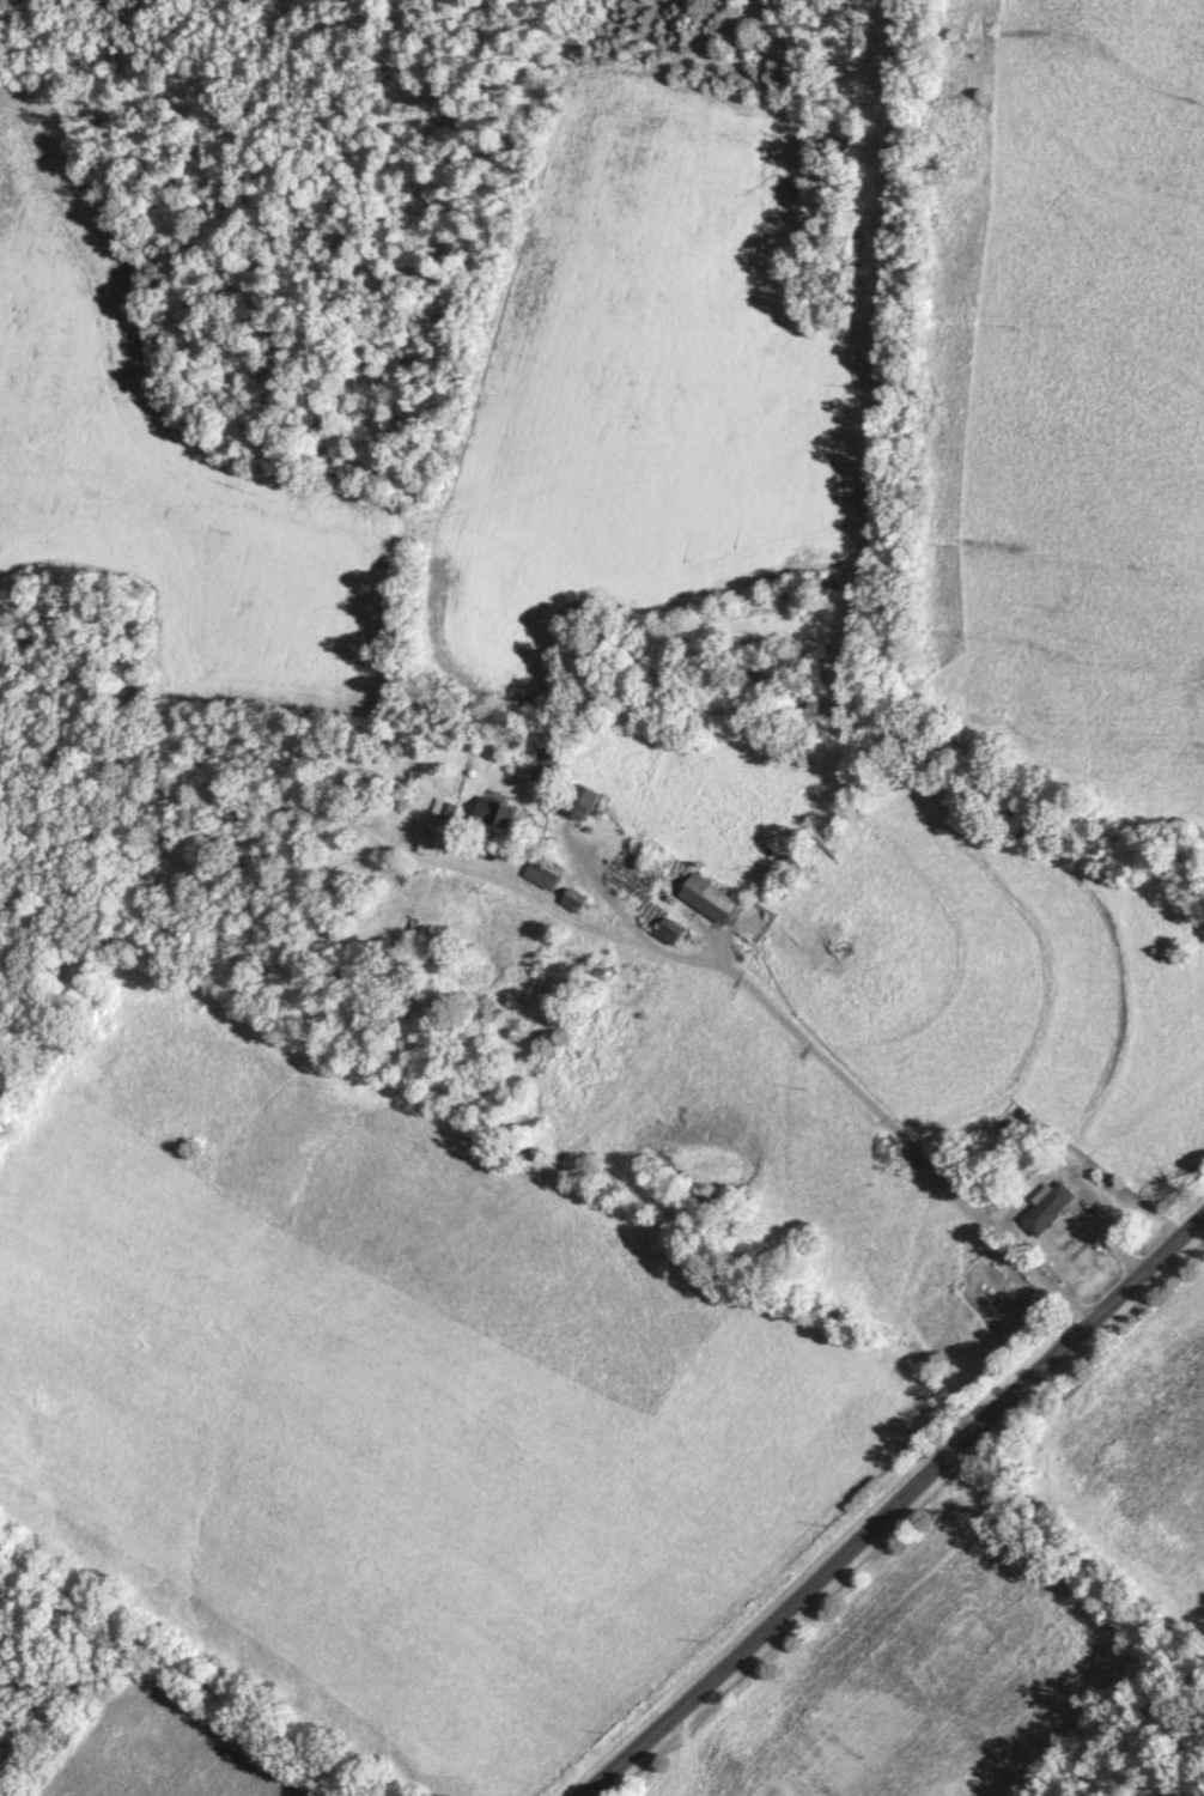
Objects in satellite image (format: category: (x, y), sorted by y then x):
building: (547, 766)
building: (584, 802)
building: (499, 812)
building: (433, 839)
building: (546, 872)
building: (712, 899)
building: (574, 902)
road: (802, 1037)
building: (1051, 1209)
road: (898, 1509)
road: (183, 1664)

